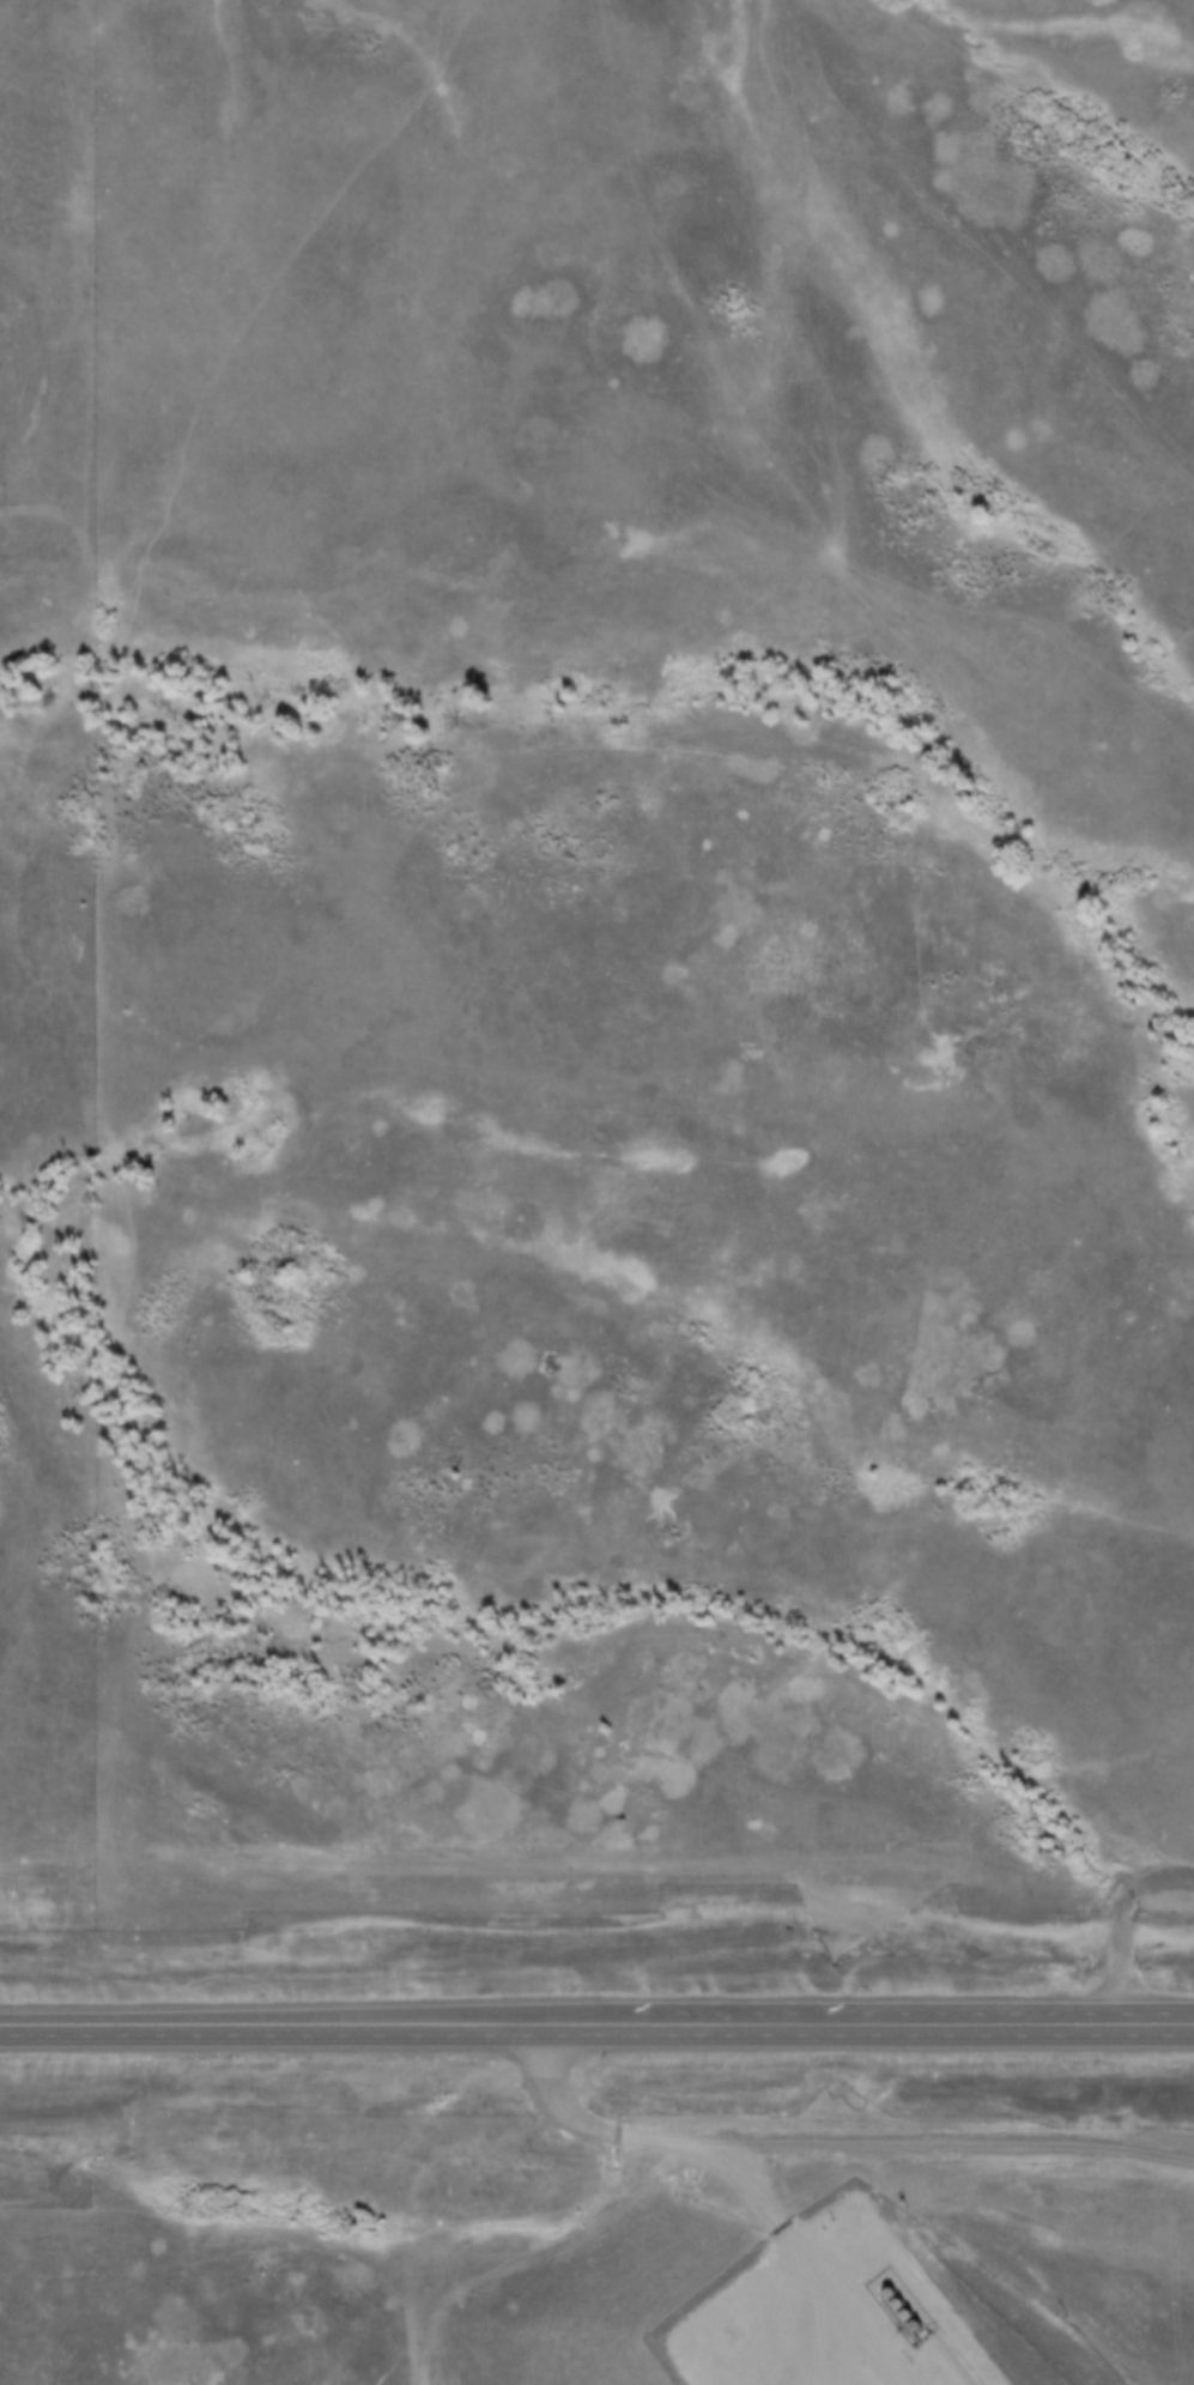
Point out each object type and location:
road: (315, 2029)
road: (731, 2030)
road: (1012, 2032)
road: (826, 2145)

